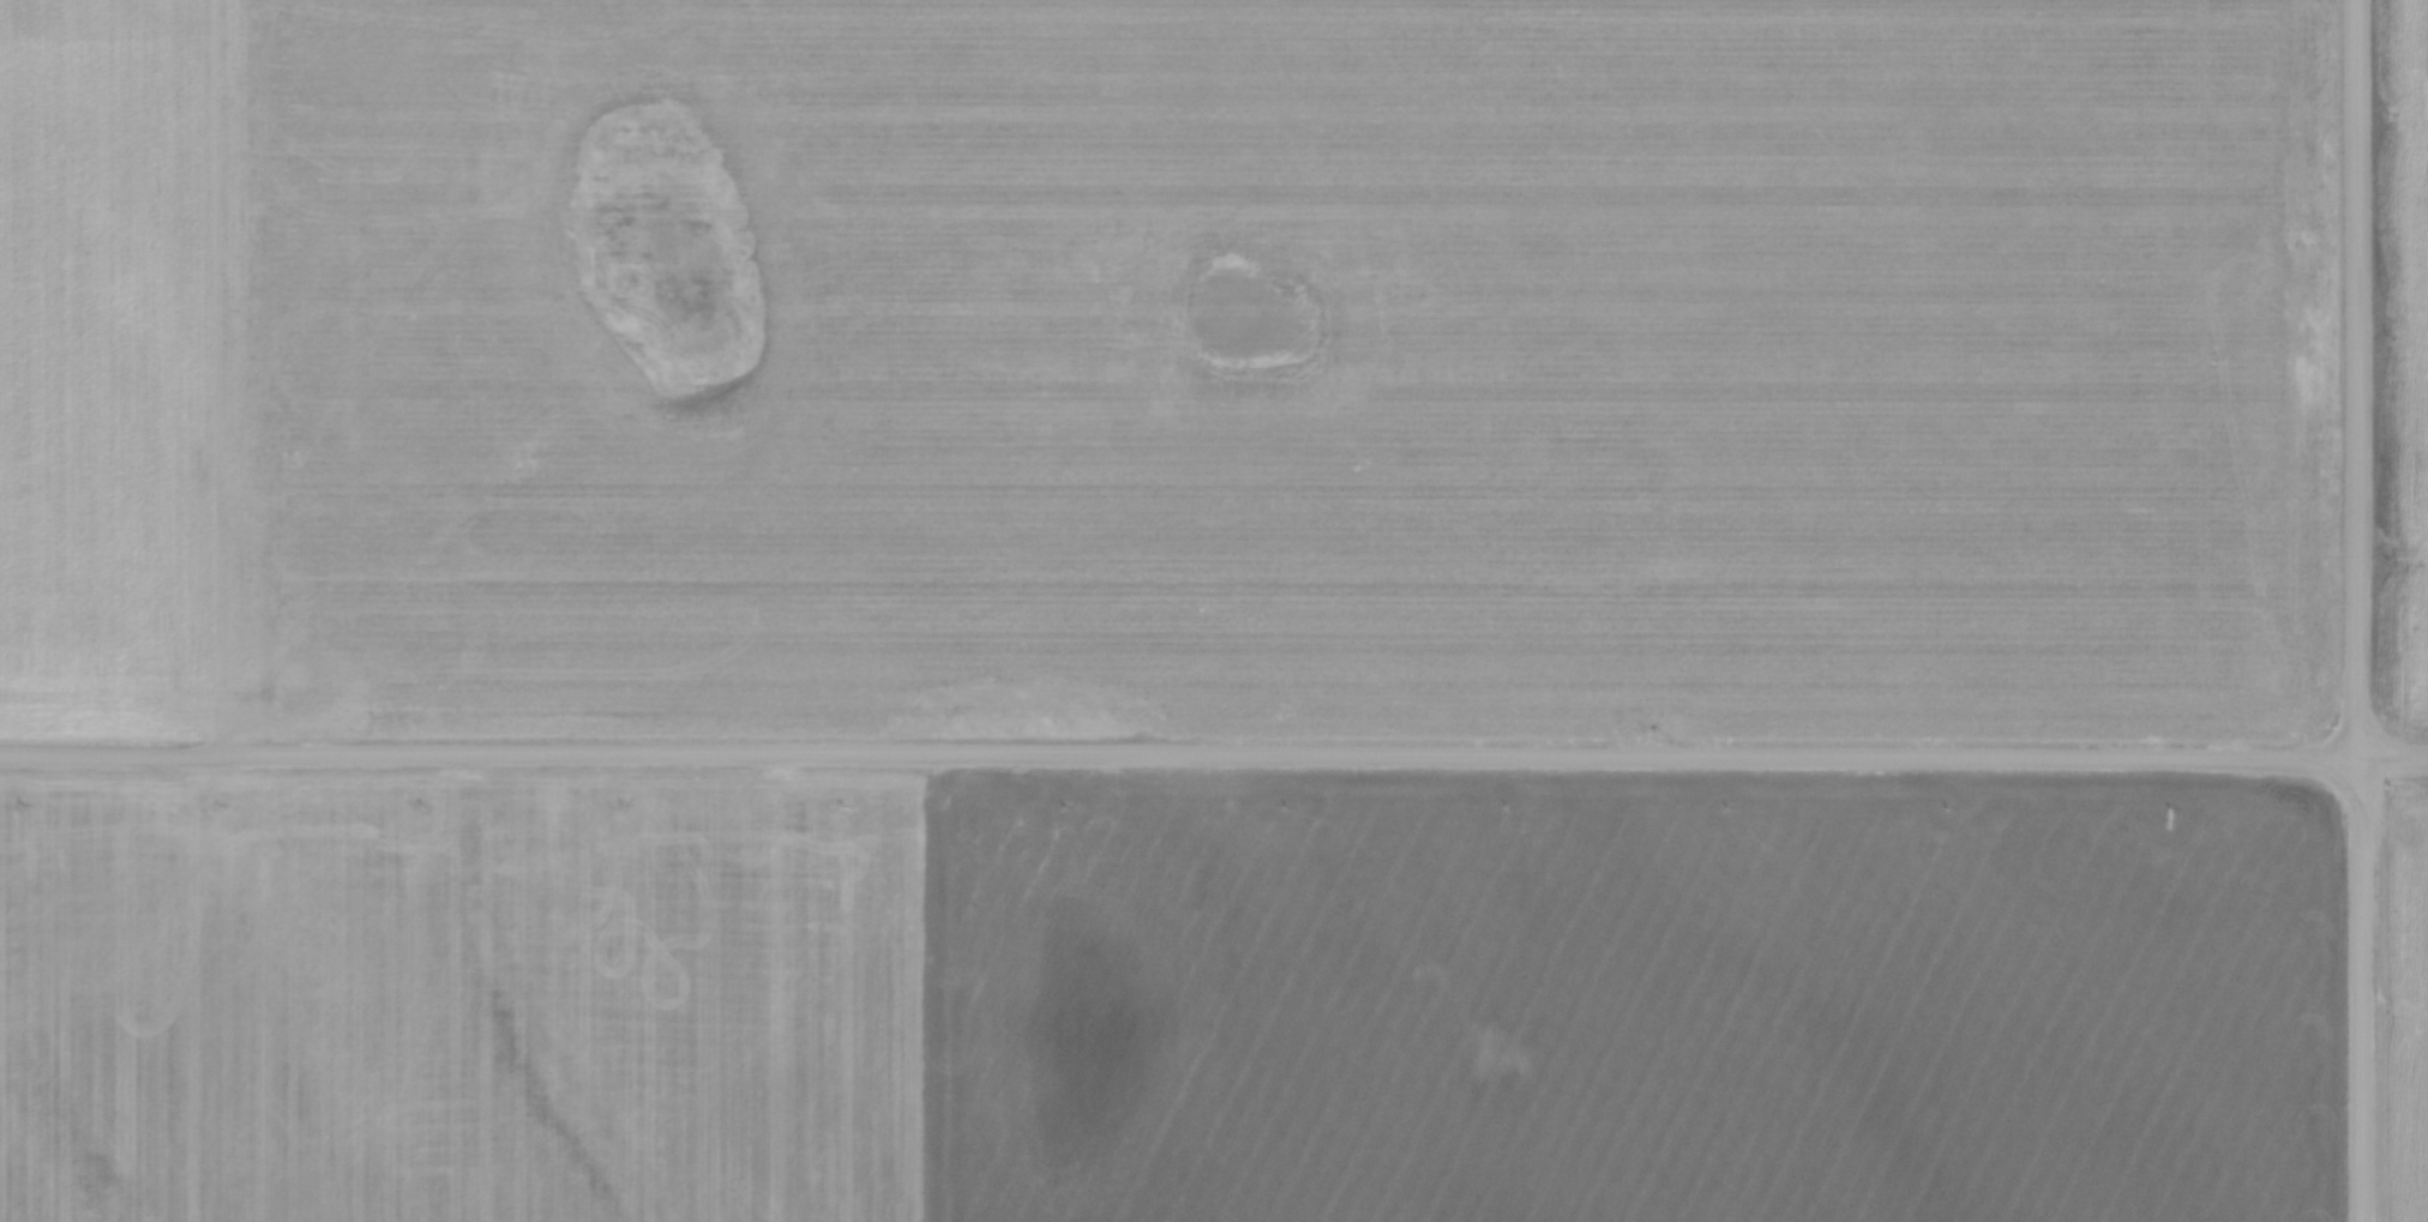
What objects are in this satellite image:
crop: (2403, 360)
crop: (1171, 366)
road: (2358, 380)
road: (1214, 758)
road: (2360, 992)
crop: (1164, 1000)
crop: (2405, 1006)

